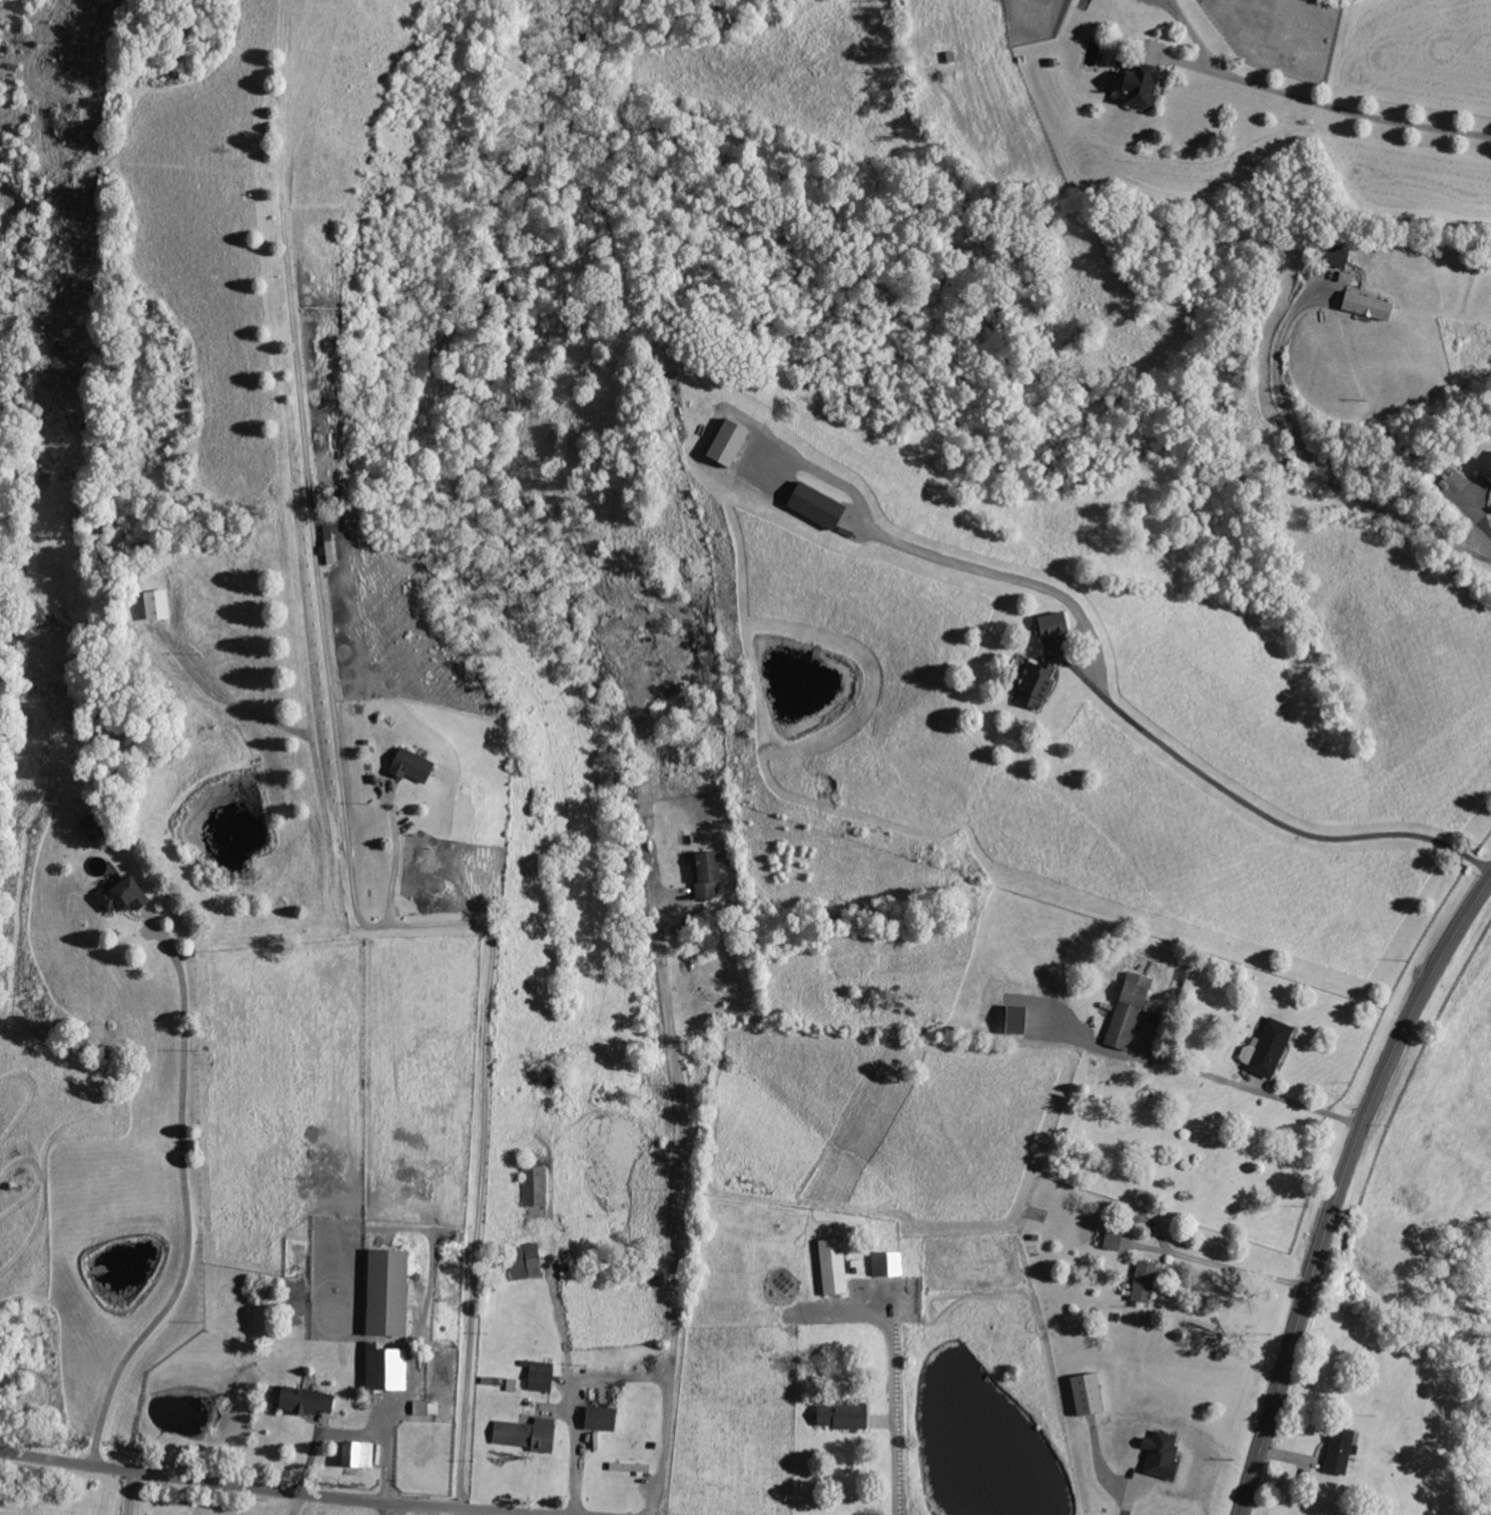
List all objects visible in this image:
road: (1195, 34)
building: (1136, 84)
road: (1328, 103)
building: (1333, 255)
building: (1365, 306)
building: (723, 443)
road: (1317, 464)
building: (1484, 470)
building: (813, 506)
building: (163, 605)
building: (1048, 625)
building: (1034, 685)
road: (222, 693)
building: (410, 766)
road: (1272, 814)
building: (99, 827)
road: (392, 861)
building: (707, 876)
building: (131, 896)
road: (666, 897)
road: (489, 964)
building: (1126, 1012)
building: (1010, 1021)
building: (1268, 1049)
road: (1243, 1085)
building: (536, 1187)
road: (1342, 1188)
road: (191, 1201)
road: (678, 1209)
building: (1111, 1240)
building: (526, 1262)
building: (885, 1263)
building: (830, 1266)
road: (1238, 1267)
building: (1142, 1281)
building: (385, 1292)
building: (384, 1368)
building: (541, 1376)
building: (513, 1385)
building: (1083, 1393)
road: (894, 1395)
road: (576, 1400)
building: (304, 1401)
building: (423, 1410)
building: (840, 1416)
building: (597, 1418)
building: (525, 1434)
building: (1338, 1450)
road: (387, 1452)
building: (354, 1454)
building: (1159, 1455)
road: (278, 1489)
road: (1127, 1491)
road: (300, 1504)
road: (395, 1509)
road: (443, 1511)

